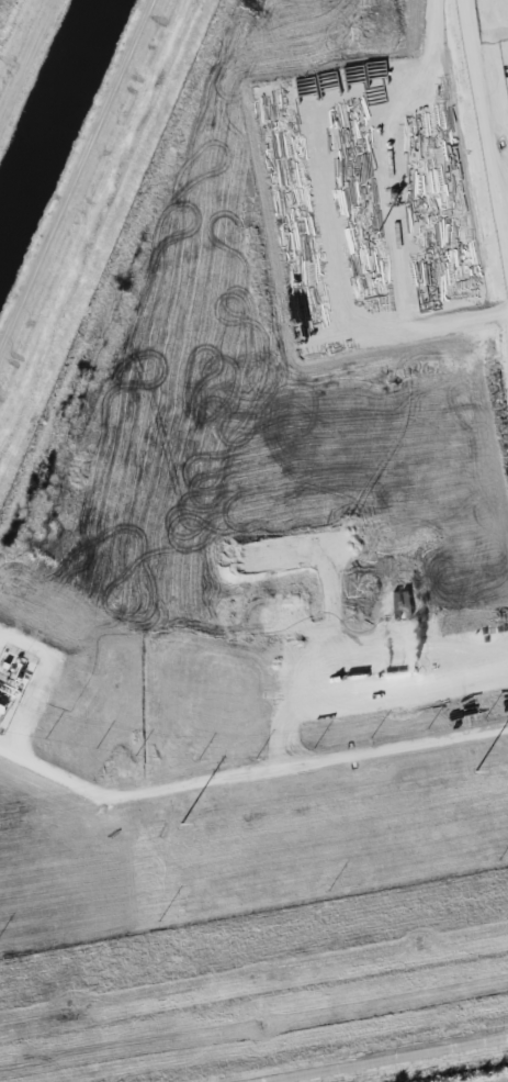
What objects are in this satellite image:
road: (309, 765)
road: (393, 1061)

